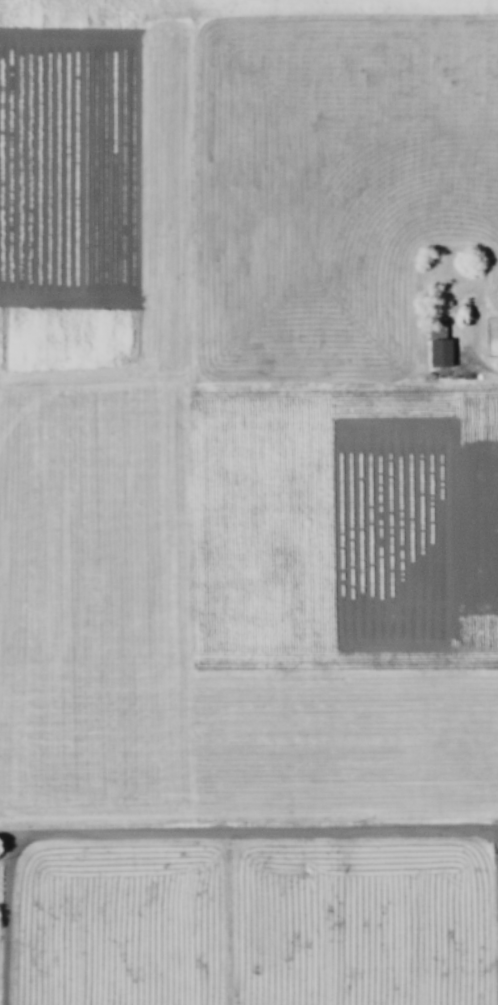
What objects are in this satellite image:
building: (440, 352)
road: (249, 837)
road: (493, 920)
road: (13, 922)

